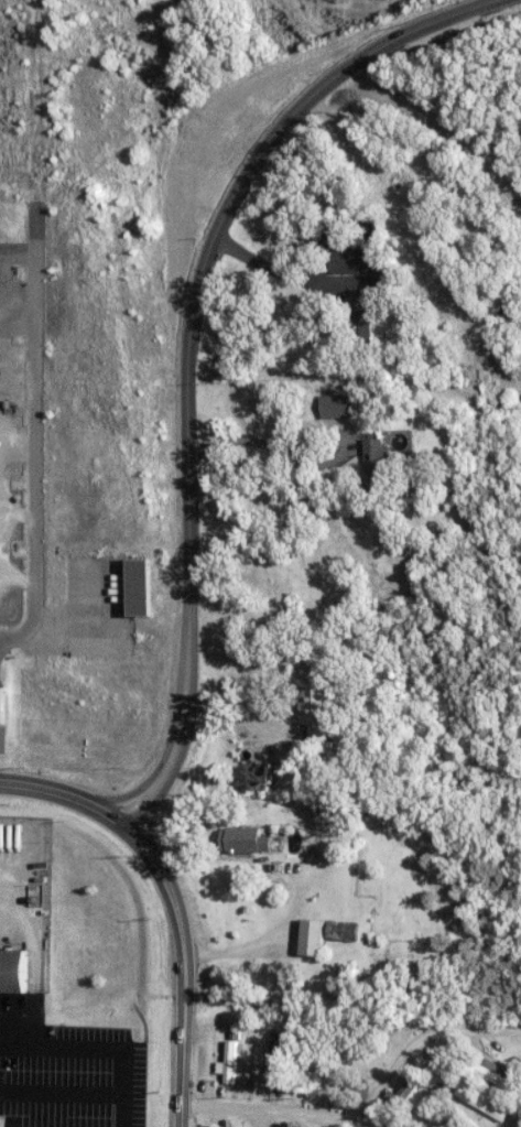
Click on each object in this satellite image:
building: (370, 270)
road: (265, 304)
road: (188, 327)
building: (368, 328)
building: (341, 407)
building: (383, 457)
road: (37, 458)
building: (146, 588)
building: (6, 704)
building: (323, 709)
building: (258, 778)
building: (251, 839)
road: (174, 902)
building: (317, 936)
building: (18, 971)
building: (278, 1060)
building: (231, 1062)
parking lot: (72, 1075)
building: (410, 1091)
building: (487, 1103)
road: (369, 1110)
building: (448, 1126)

